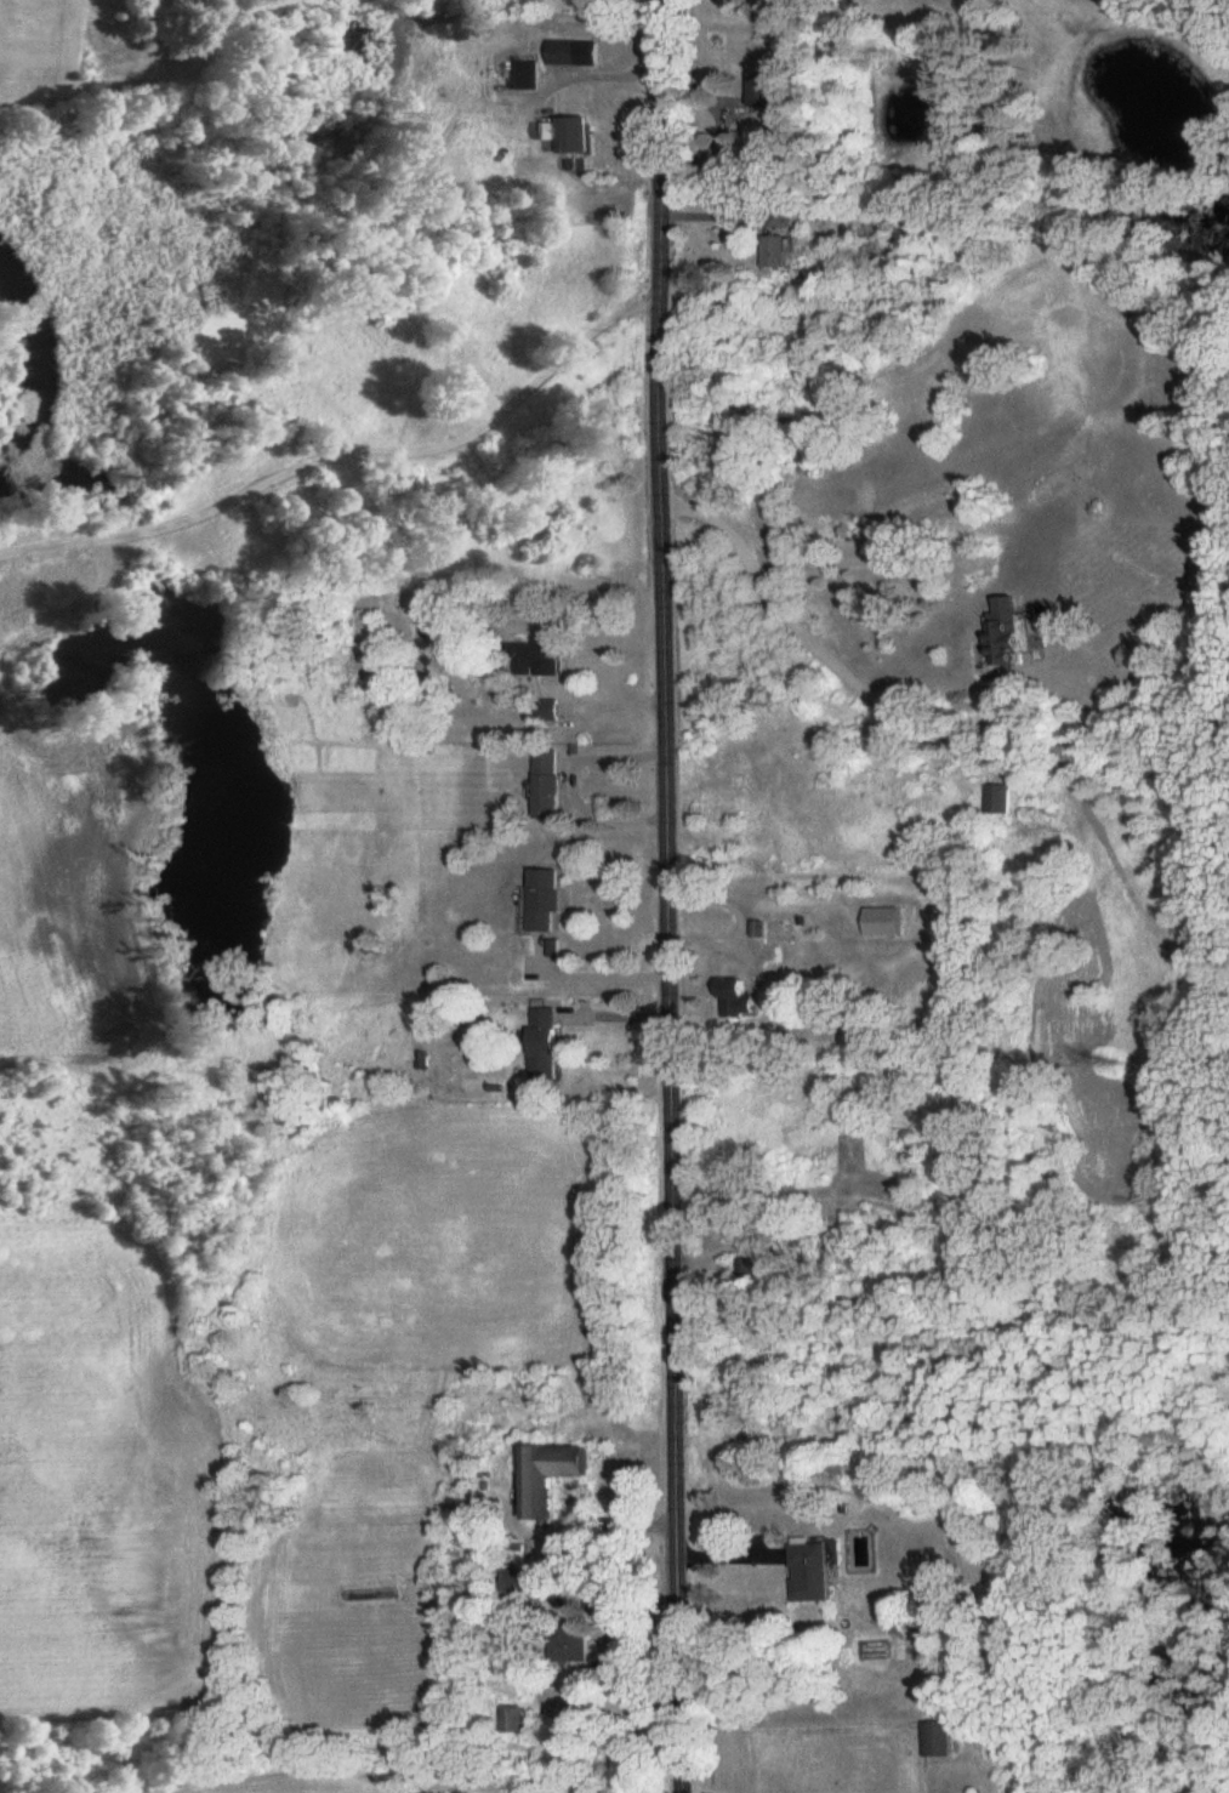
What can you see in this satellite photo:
building: (170, 5)
building: (573, 55)
building: (525, 76)
road: (570, 80)
building: (766, 90)
building: (573, 137)
building: (780, 217)
building: (776, 255)
road: (345, 455)
building: (1011, 636)
road: (825, 656)
building: (541, 660)
building: (551, 713)
building: (550, 786)
road: (667, 895)
building: (547, 903)
building: (886, 924)
road: (593, 977)
building: (741, 1000)
building: (547, 1046)
building: (749, 1273)
building: (551, 1478)
building: (817, 1575)
building: (517, 1587)
building: (575, 1645)
building: (517, 1721)
building: (939, 1741)
building: (417, 1771)

